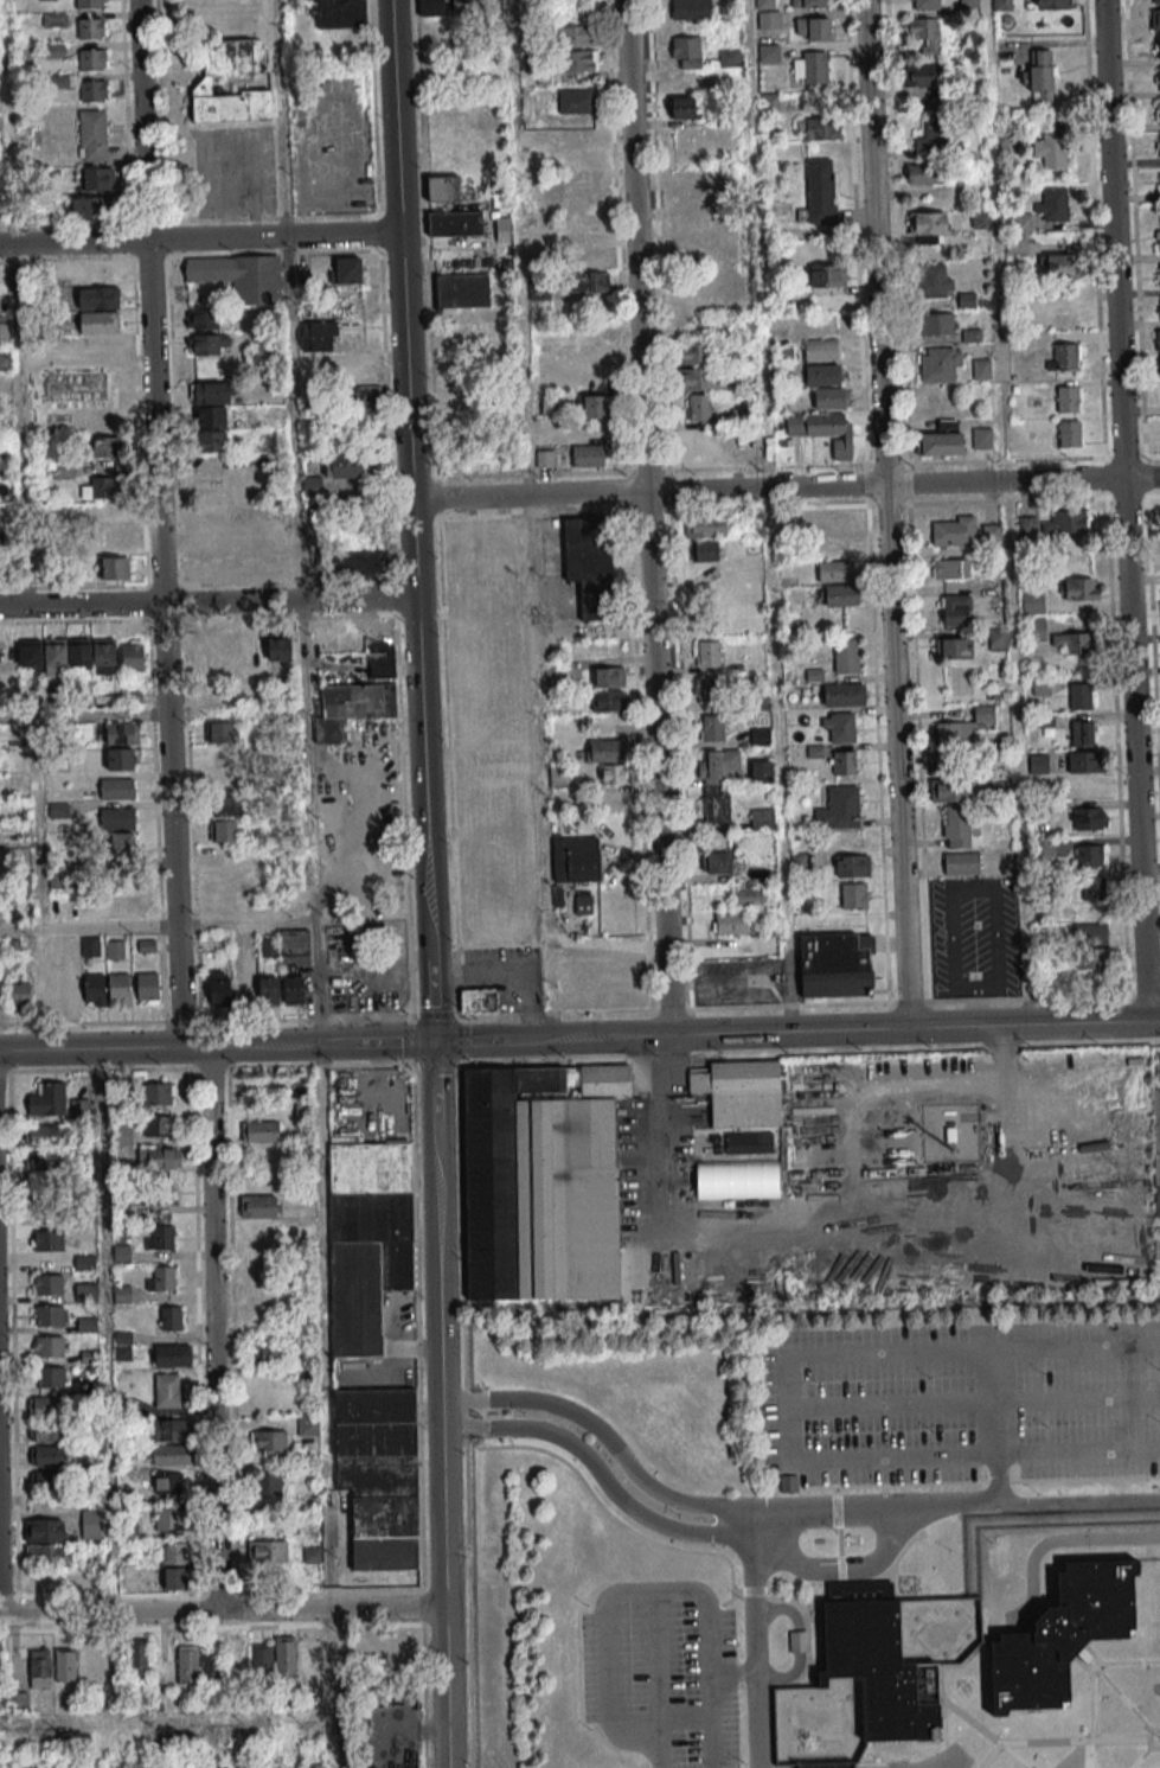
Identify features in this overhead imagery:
building: (1155, 1)
building: (968, 2)
building: (89, 4)
building: (809, 4)
building: (927, 4)
building: (1052, 4)
building: (466, 5)
building: (1001, 5)
building: (434, 7)
building: (690, 8)
building: (338, 13)
building: (1155, 19)
building: (91, 27)
building: (813, 27)
building: (925, 33)
building: (575, 36)
building: (1156, 45)
building: (685, 51)
building: (768, 52)
building: (729, 57)
building: (92, 58)
building: (579, 59)
building: (810, 65)
building: (922, 75)
building: (1042, 75)
building: (1158, 78)
building: (205, 82)
building: (86, 85)
road: (419, 101)
building: (577, 102)
building: (769, 103)
building: (680, 107)
road: (373, 108)
building: (1158, 111)
building: (812, 128)
building: (92, 134)
building: (581, 135)
building: (937, 140)
building: (1158, 145)
building: (1050, 149)
building: (581, 159)
building: (925, 173)
building: (96, 178)
building: (686, 180)
building: (1159, 180)
building: (582, 185)
building: (442, 189)
building: (818, 193)
road: (442, 204)
building: (1053, 204)
road: (424, 205)
building: (687, 205)
building: (91, 208)
building: (979, 219)
road: (424, 223)
building: (455, 223)
building: (928, 226)
building: (1158, 228)
road: (378, 231)
building: (588, 232)
building: (1019, 232)
road: (273, 237)
road: (425, 241)
road: (72, 242)
building: (690, 248)
road: (425, 251)
building: (591, 256)
building: (1059, 264)
road: (427, 267)
building: (346, 269)
building: (97, 274)
building: (239, 275)
building: (825, 275)
building: (1158, 275)
building: (935, 279)
building: (590, 281)
building: (460, 291)
road: (402, 296)
building: (98, 298)
building: (1159, 308)
building: (206, 318)
building: (98, 321)
building: (936, 323)
building: (4, 328)
building: (318, 336)
building: (1158, 339)
building: (209, 344)
building: (100, 346)
building: (821, 349)
building: (693, 352)
building: (1065, 356)
building: (2, 358)
building: (941, 364)
building: (1158, 364)
building: (981, 368)
building: (822, 374)
building: (699, 378)
road: (431, 379)
road: (17, 388)
building: (209, 392)
building: (592, 394)
building: (363, 396)
building: (831, 397)
building: (1068, 398)
building: (699, 407)
road: (385, 413)
building: (210, 416)
building: (102, 421)
building: (587, 430)
building: (823, 430)
building: (1069, 433)
building: (982, 438)
building: (732, 440)
building: (211, 441)
building: (940, 442)
building: (700, 443)
building: (104, 446)
building: (588, 455)
road: (295, 460)
building: (332, 471)
building: (102, 486)
building: (209, 487)
road: (784, 487)
road: (436, 497)
road: (1124, 510)
road: (886, 513)
road: (770, 515)
building: (113, 516)
road: (646, 517)
road: (530, 519)
building: (832, 519)
building: (1066, 522)
road: (158, 523)
building: (705, 525)
building: (1027, 525)
building: (964, 531)
building: (216, 536)
building: (114, 542)
building: (839, 547)
building: (701, 550)
building: (361, 563)
building: (590, 563)
building: (114, 567)
building: (950, 568)
building: (835, 570)
building: (1078, 588)
road: (393, 594)
building: (1036, 600)
road: (207, 601)
building: (956, 609)
building: (1036, 630)
building: (998, 639)
building: (491, 640)
building: (1074, 642)
building: (954, 647)
building: (230, 649)
building: (265, 649)
building: (201, 651)
building: (59, 653)
building: (132, 653)
building: (707, 653)
building: (846, 656)
building: (382, 659)
building: (608, 676)
building: (961, 683)
building: (1040, 685)
building: (710, 690)
building: (204, 694)
building: (844, 694)
building: (1081, 695)
building: (608, 701)
building: (351, 706)
road: (81, 713)
building: (985, 713)
road: (399, 727)
building: (712, 727)
building: (840, 727)
building: (219, 732)
building: (951, 732)
building: (1082, 732)
building: (121, 733)
building: (761, 735)
building: (607, 749)
building: (220, 757)
building: (120, 758)
building: (1085, 761)
building: (844, 762)
building: (1039, 762)
road: (448, 765)
building: (717, 765)
building: (761, 771)
building: (615, 774)
building: (950, 779)
building: (223, 780)
building: (116, 787)
building: (1000, 787)
building: (229, 805)
building: (716, 805)
building: (839, 808)
building: (116, 817)
road: (423, 818)
building: (762, 818)
building: (1090, 818)
road: (37, 819)
building: (956, 826)
building: (223, 830)
building: (122, 842)
road: (378, 845)
road: (404, 851)
building: (1089, 854)
building: (717, 863)
building: (961, 863)
building: (852, 866)
building: (575, 872)
building: (59, 875)
road: (340, 885)
building: (1094, 887)
building: (498, 891)
building: (748, 895)
building: (853, 895)
building: (122, 906)
street lamp: (318, 914)
building: (730, 924)
road: (156, 925)
building: (1091, 933)
road: (408, 943)
building: (295, 946)
building: (115, 949)
building: (1091, 957)
building: (837, 964)
road: (314, 983)
building: (219, 985)
building: (147, 987)
building: (293, 987)
building: (118, 988)
building: (44, 989)
building: (95, 989)
building: (244, 989)
building: (269, 990)
building: (20, 991)
building: (69, 994)
building: (479, 1000)
road: (455, 1014)
road: (367, 1015)
road: (434, 1015)
road: (315, 1017)
road: (252, 1019)
road: (181, 1020)
road: (84, 1022)
road: (914, 1027)
road: (550, 1039)
road: (457, 1040)
road: (412, 1041)
traffic signals: (432, 1042)
road: (320, 1045)
road: (104, 1048)
street lamp: (328, 1061)
road: (414, 1064)
road: (435, 1064)
road: (456, 1064)
road: (318, 1065)
road: (209, 1067)
road: (149, 1068)
road: (49, 1070)
road: (98, 1070)
road: (2, 1071)
building: (160, 1092)
building: (738, 1092)
building: (47, 1099)
building: (158, 1125)
building: (261, 1131)
building: (40, 1135)
building: (123, 1135)
road: (673, 1147)
building: (159, 1157)
building: (41, 1160)
building: (541, 1182)
building: (159, 1194)
building: (47, 1195)
building: (258, 1206)
road: (436, 1220)
building: (162, 1237)
building: (367, 1238)
building: (46, 1240)
building: (84, 1260)
building: (161, 1277)
building: (46, 1284)
building: (85, 1291)
building: (122, 1293)
building: (47, 1315)
building: (169, 1317)
road: (416, 1327)
road: (212, 1328)
road: (103, 1332)
building: (122, 1345)
building: (49, 1346)
building: (268, 1353)
building: (173, 1354)
building: (50, 1377)
building: (167, 1390)
road: (973, 1400)
parking lot: (957, 1403)
road: (784, 1404)
building: (44, 1406)
road: (464, 1413)
road: (992, 1424)
building: (308, 1425)
building: (171, 1429)
building: (46, 1431)
building: (268, 1440)
building: (169, 1454)
building: (46, 1456)
road: (629, 1468)
building: (379, 1474)
building: (41, 1481)
building: (171, 1482)
building: (268, 1483)
road: (996, 1500)
road: (628, 1505)
building: (169, 1519)
building: (91, 1524)
building: (46, 1530)
road: (1050, 1542)
building: (268, 1551)
building: (49, 1553)
building: (177, 1564)
road: (842, 1569)
road: (443, 1583)
road: (642, 1590)
road: (421, 1607)
road: (782, 1608)
road: (222, 1610)
road: (1032, 1615)
street lamp: (403, 1622)
road: (754, 1636)
building: (1059, 1638)
building: (796, 1642)
road: (796, 1642)
building: (137, 1657)
building: (286, 1657)
building: (0, 1658)
building: (261, 1659)
road: (1124, 1662)
building: (65, 1664)
building: (187, 1664)
building: (876, 1665)
building: (211, 1666)
building: (40, 1667)
parking lot: (660, 1672)
road: (784, 1676)
road: (659, 1679)
road: (422, 1694)
road: (1119, 1697)
building: (18, 1702)
road: (216, 1715)
road: (1088, 1716)
road: (682, 1718)
road: (985, 1732)
road: (1064, 1742)
road: (1146, 1751)
building: (47, 1762)
building: (314, 1764)
building: (825, 1766)
building: (20, 1767)

